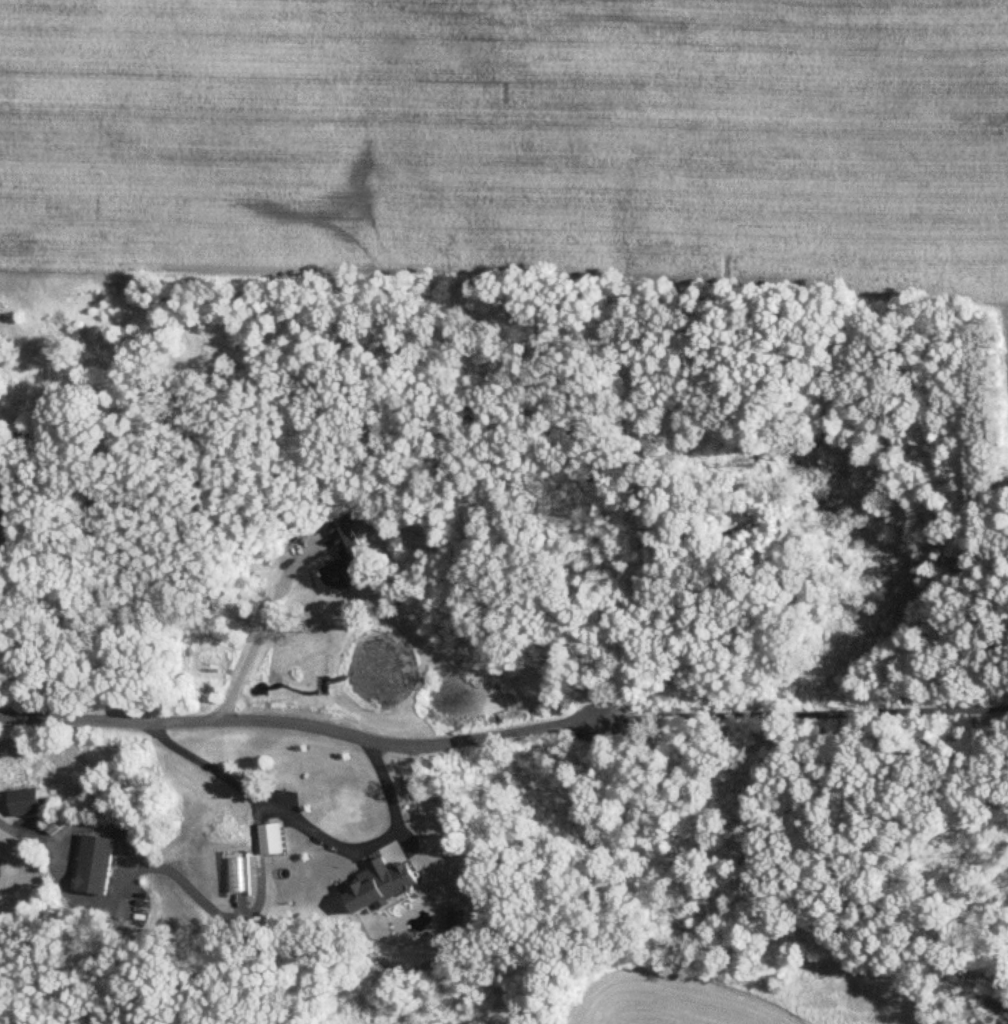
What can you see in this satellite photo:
building: (347, 561)
road: (262, 629)
road: (807, 713)
road: (306, 723)
building: (25, 803)
road: (306, 826)
road: (32, 833)
building: (270, 839)
building: (96, 866)

